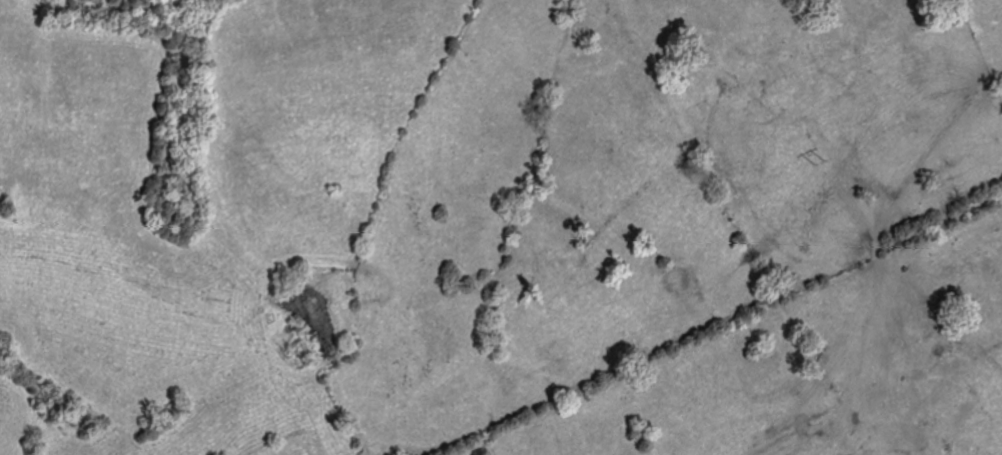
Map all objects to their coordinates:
power tower: (823, 163)

